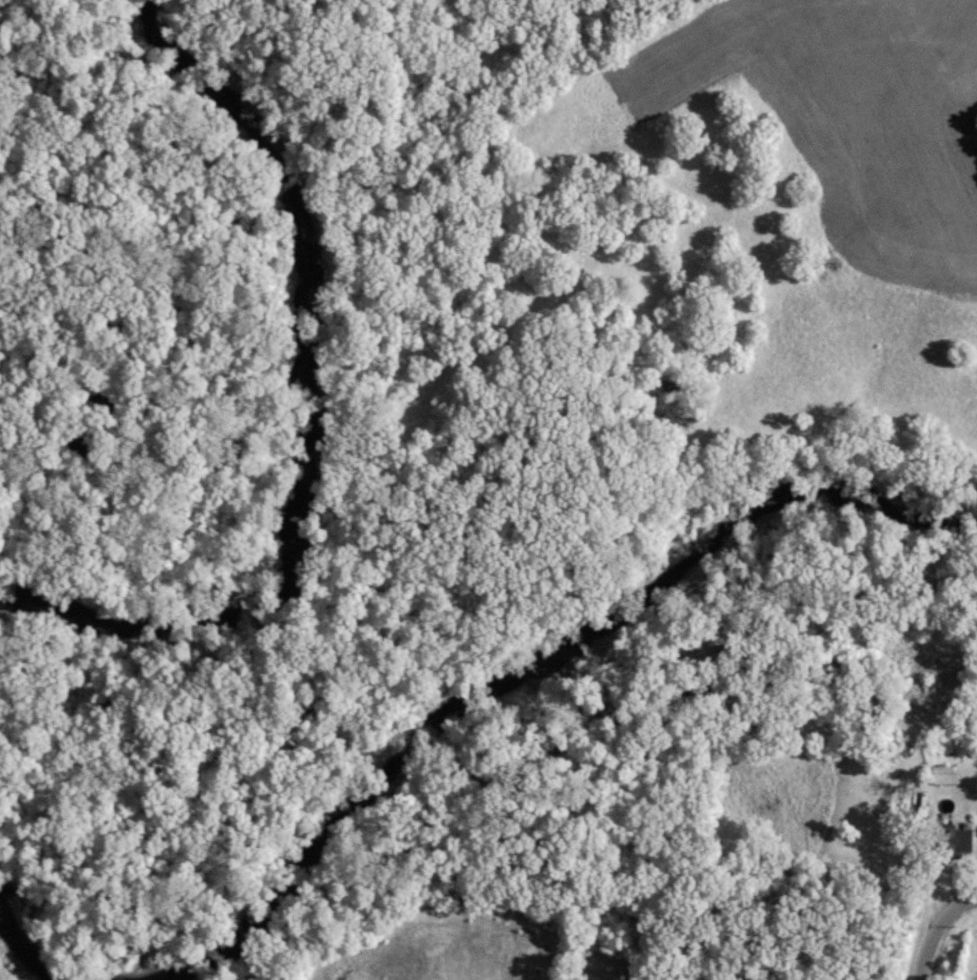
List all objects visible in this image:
building: (941, 775)
building: (952, 840)
park: (134, 922)
road: (937, 931)

